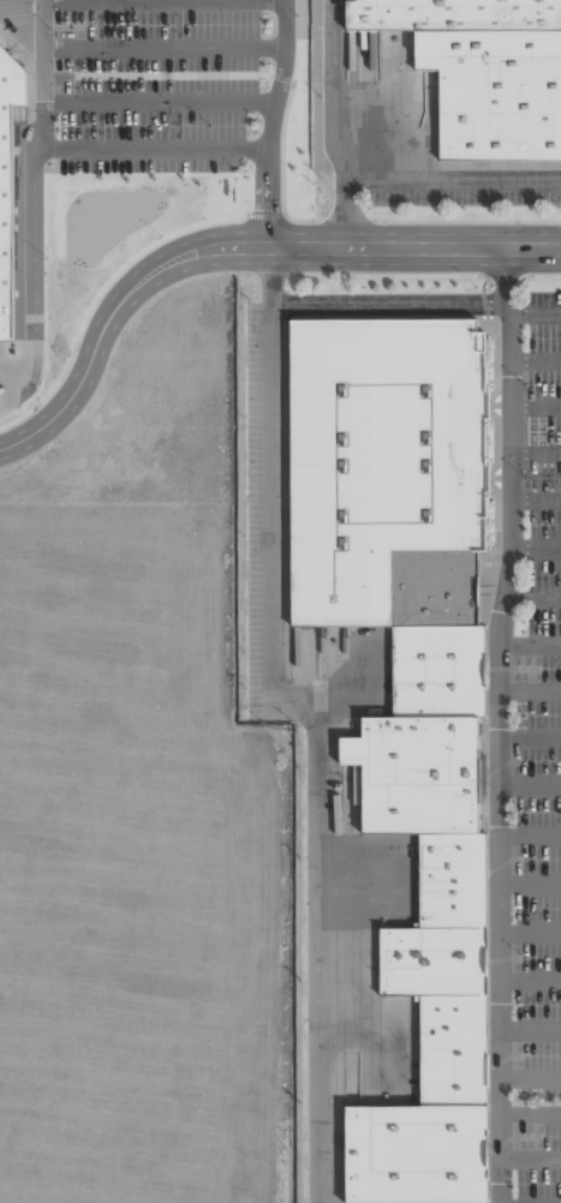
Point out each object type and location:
road: (105, 0)
road: (11, 1)
road: (60, 1)
road: (88, 1)
building: (450, 14)
road: (166, 49)
building: (494, 92)
road: (161, 101)
road: (151, 151)
building: (8, 181)
road: (29, 207)
road: (383, 246)
road: (386, 305)
road: (533, 313)
road: (95, 340)
road: (535, 361)
road: (535, 407)
road: (535, 454)
building: (381, 455)
road: (535, 501)
road: (533, 550)
building: (435, 586)
road: (530, 597)
road: (265, 609)
road: (529, 645)
building: (440, 668)
road: (529, 690)
road: (495, 724)
road: (527, 736)
building: (418, 771)
road: (529, 784)
road: (529, 833)
building: (453, 879)
road: (529, 884)
road: (529, 933)
building: (431, 960)
road: (530, 982)
road: (530, 1030)
building: (453, 1047)
road: (530, 1079)
road: (530, 1114)
building: (414, 1151)
road: (530, 1161)

